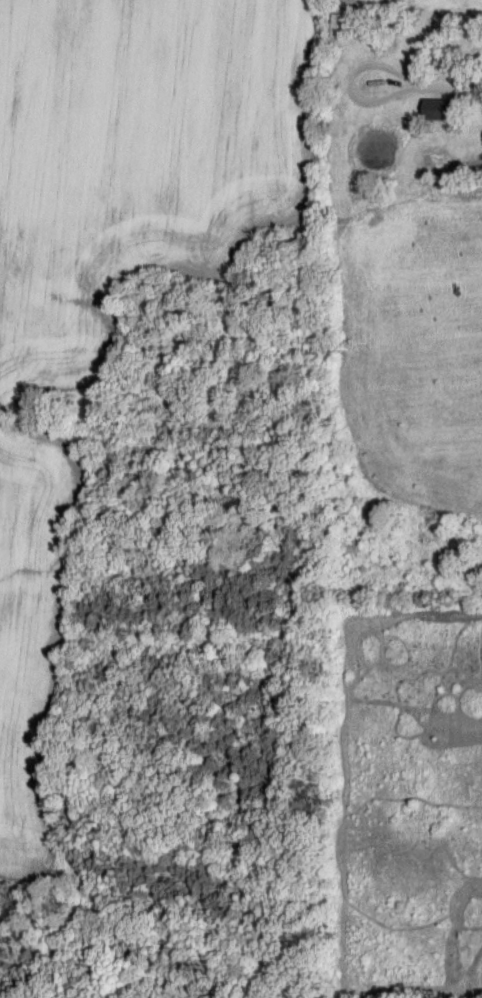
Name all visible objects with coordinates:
building: (343, 29)
road: (421, 89)
building: (439, 112)

